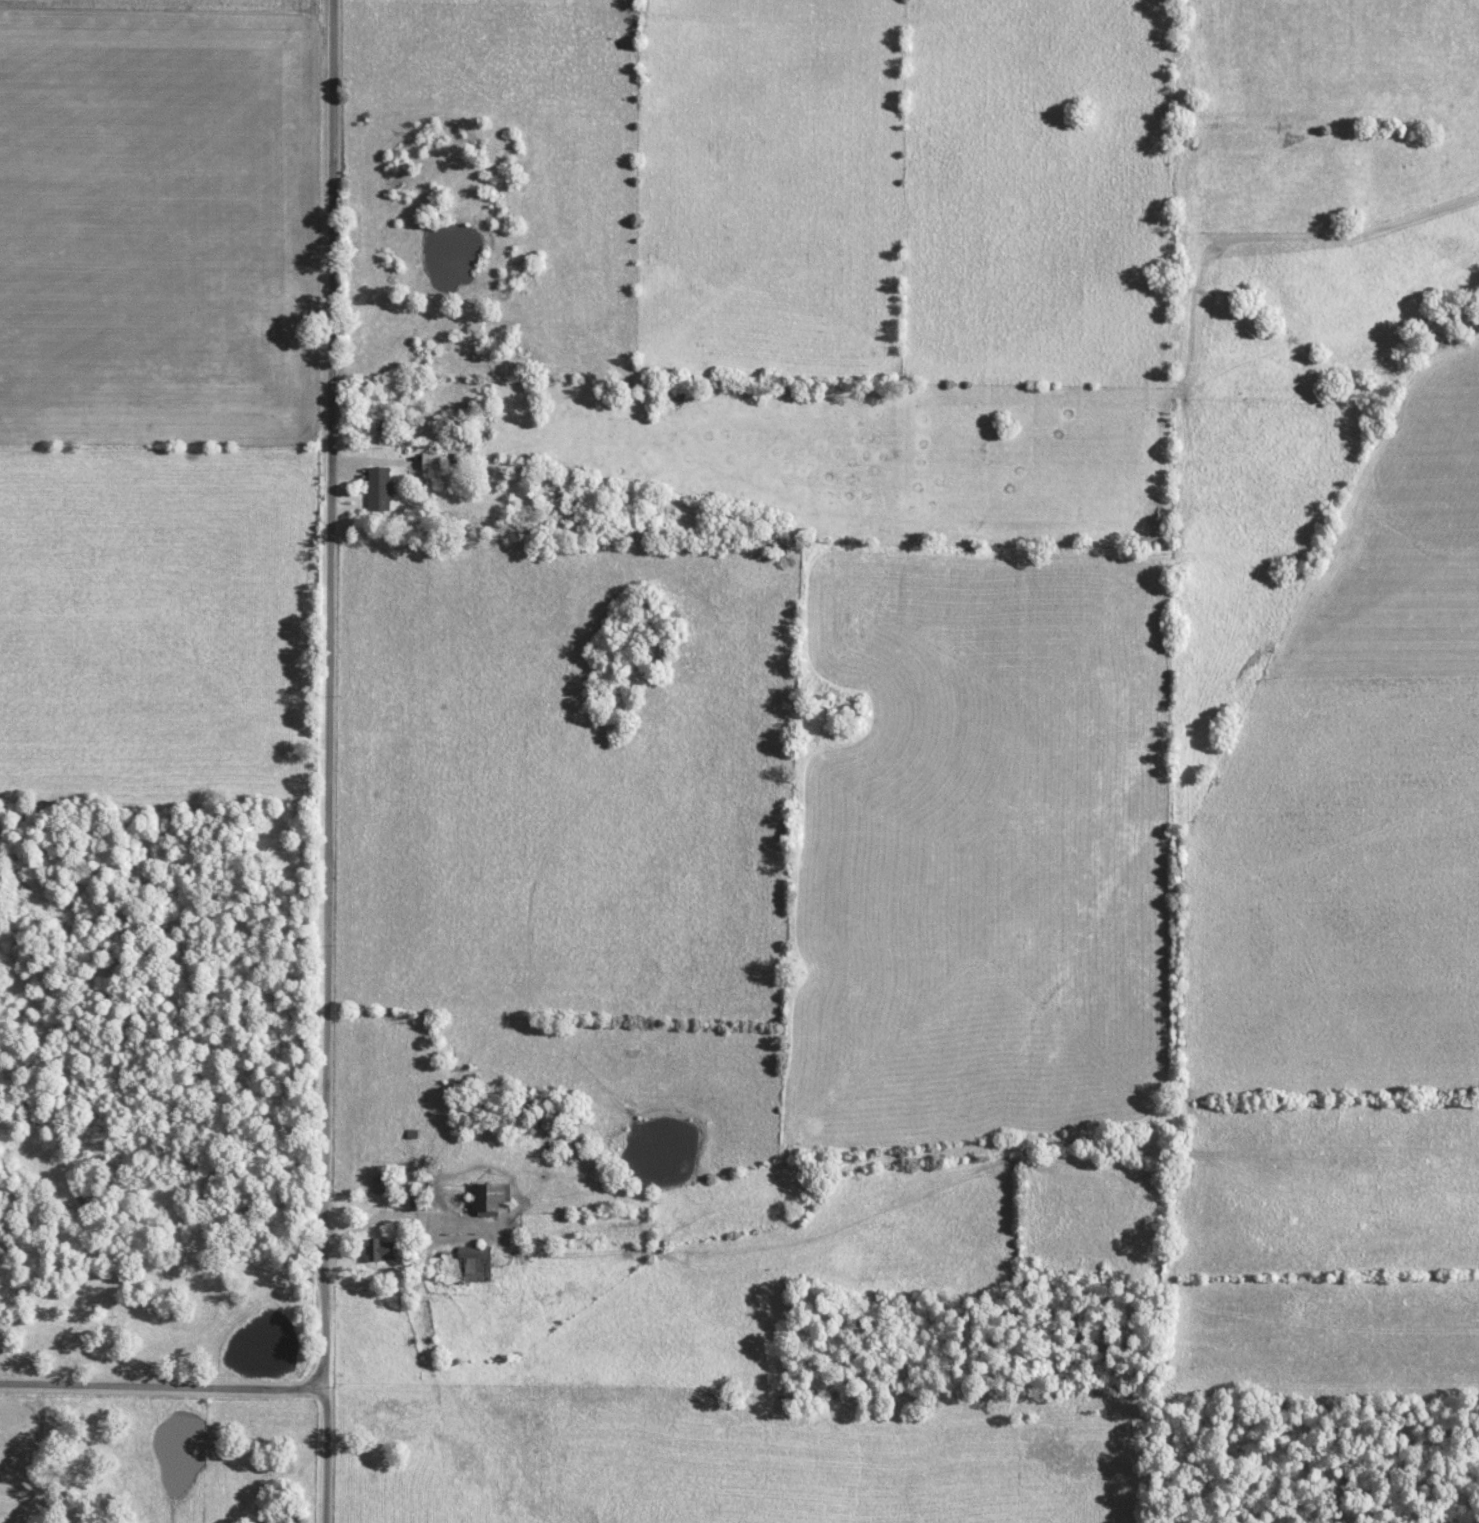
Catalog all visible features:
building: (430, 463)
building: (378, 488)
road: (329, 761)
building: (380, 1185)
building: (488, 1198)
building: (379, 1249)
building: (474, 1263)
road: (163, 1387)
building: (385, 1423)

